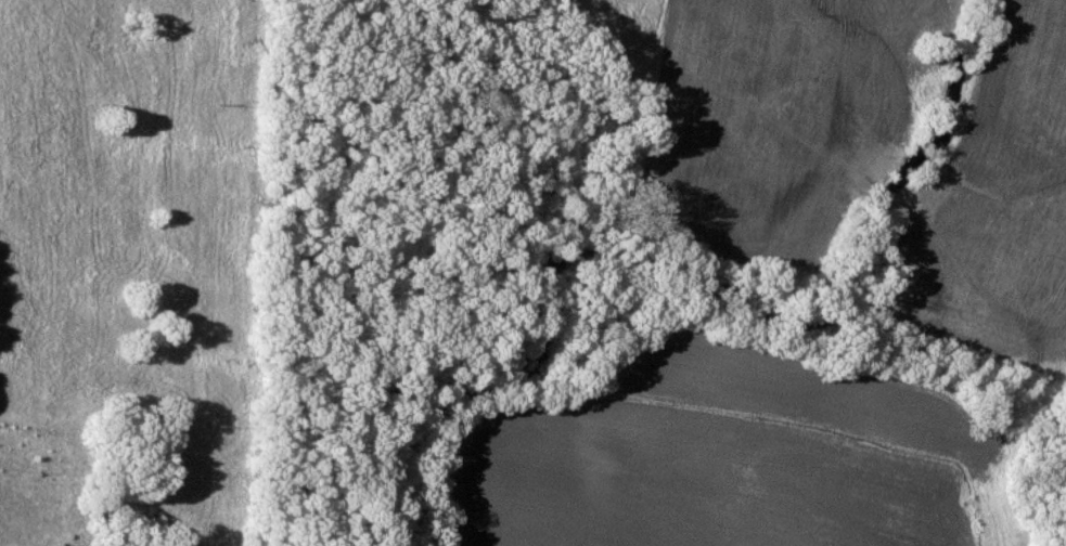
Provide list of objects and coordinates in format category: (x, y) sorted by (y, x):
river: (681, 274)

